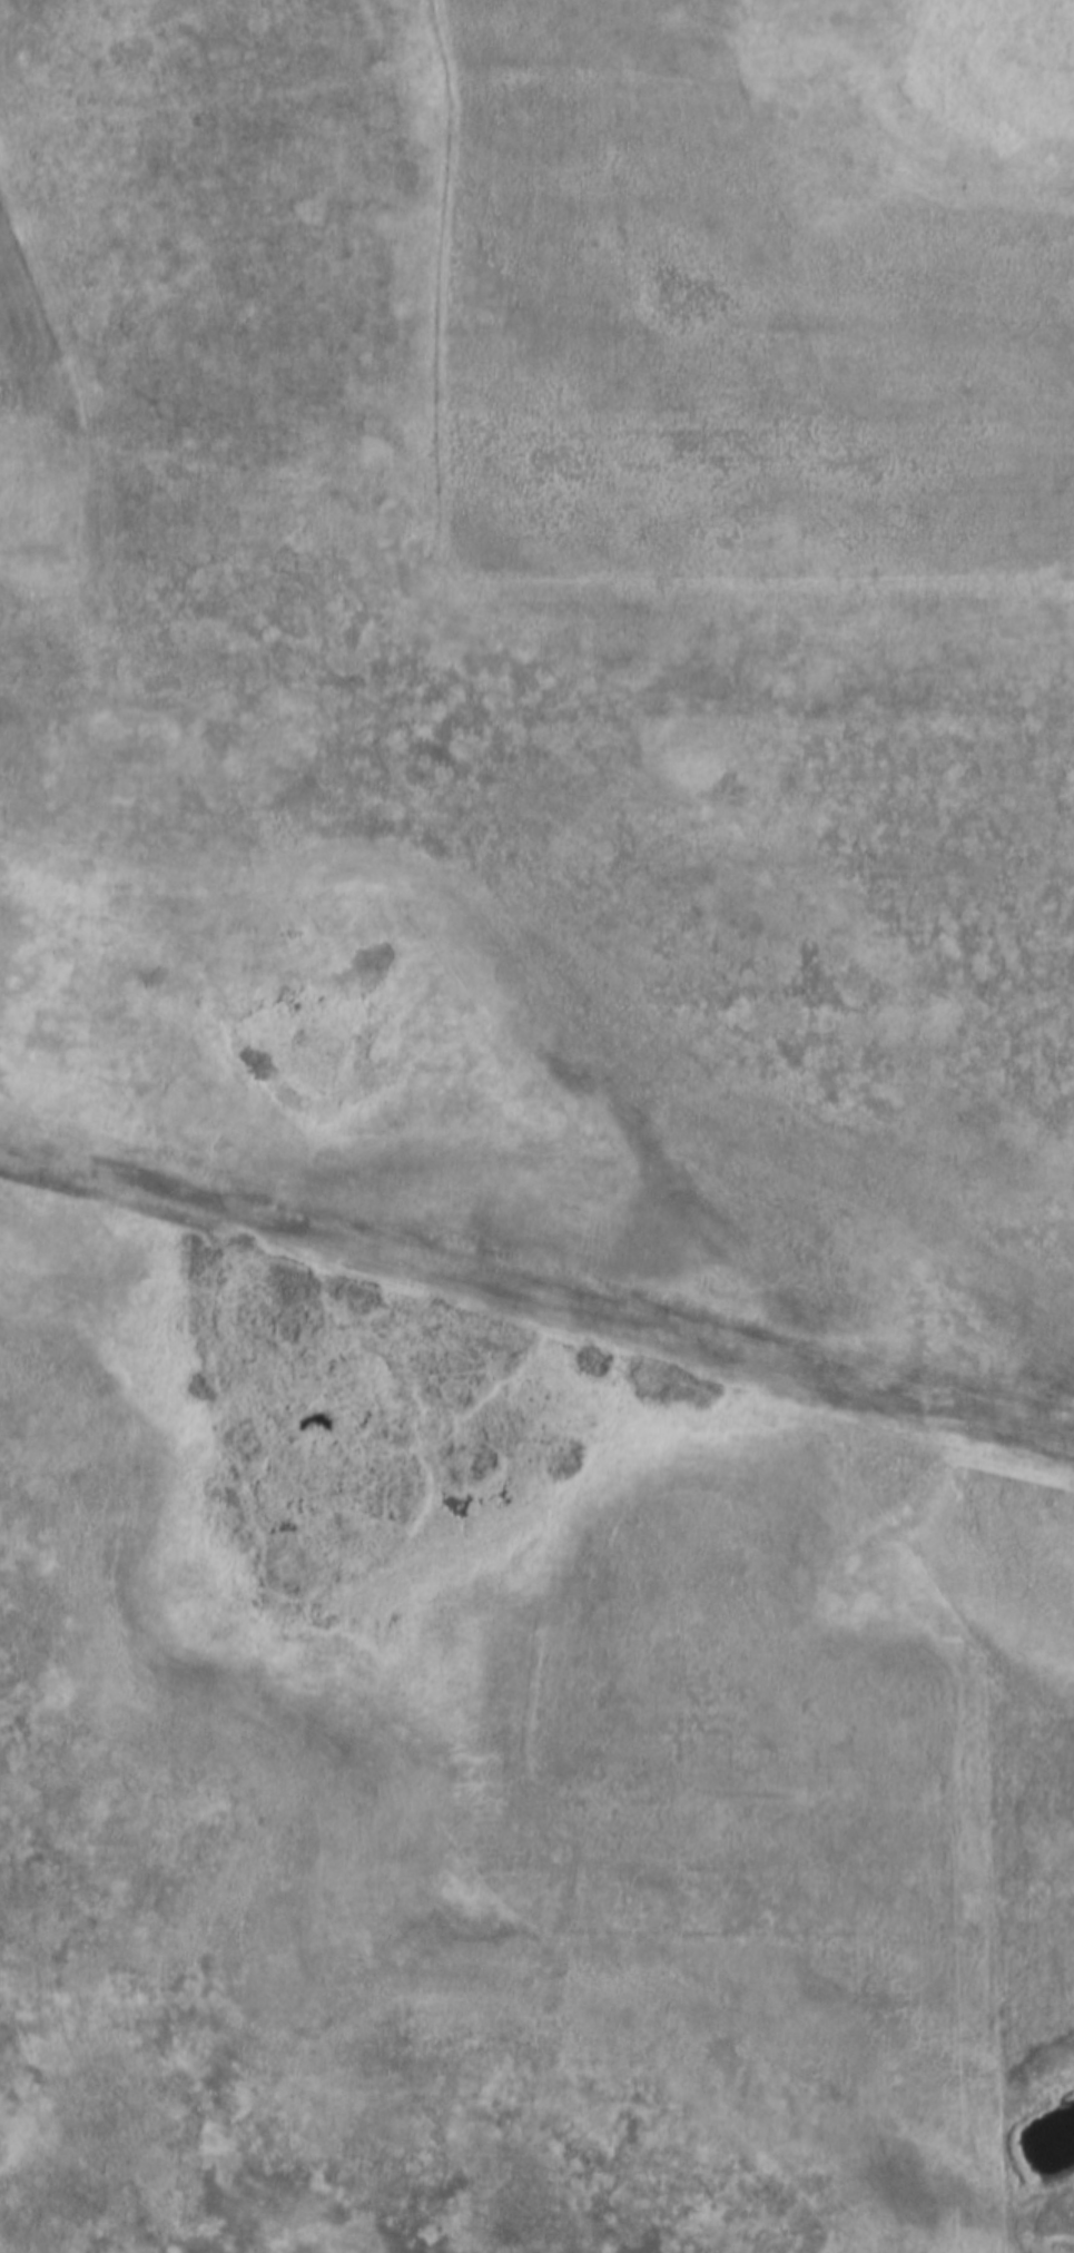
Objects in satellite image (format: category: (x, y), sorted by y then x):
road: (534, 1327)
road: (1034, 2073)

